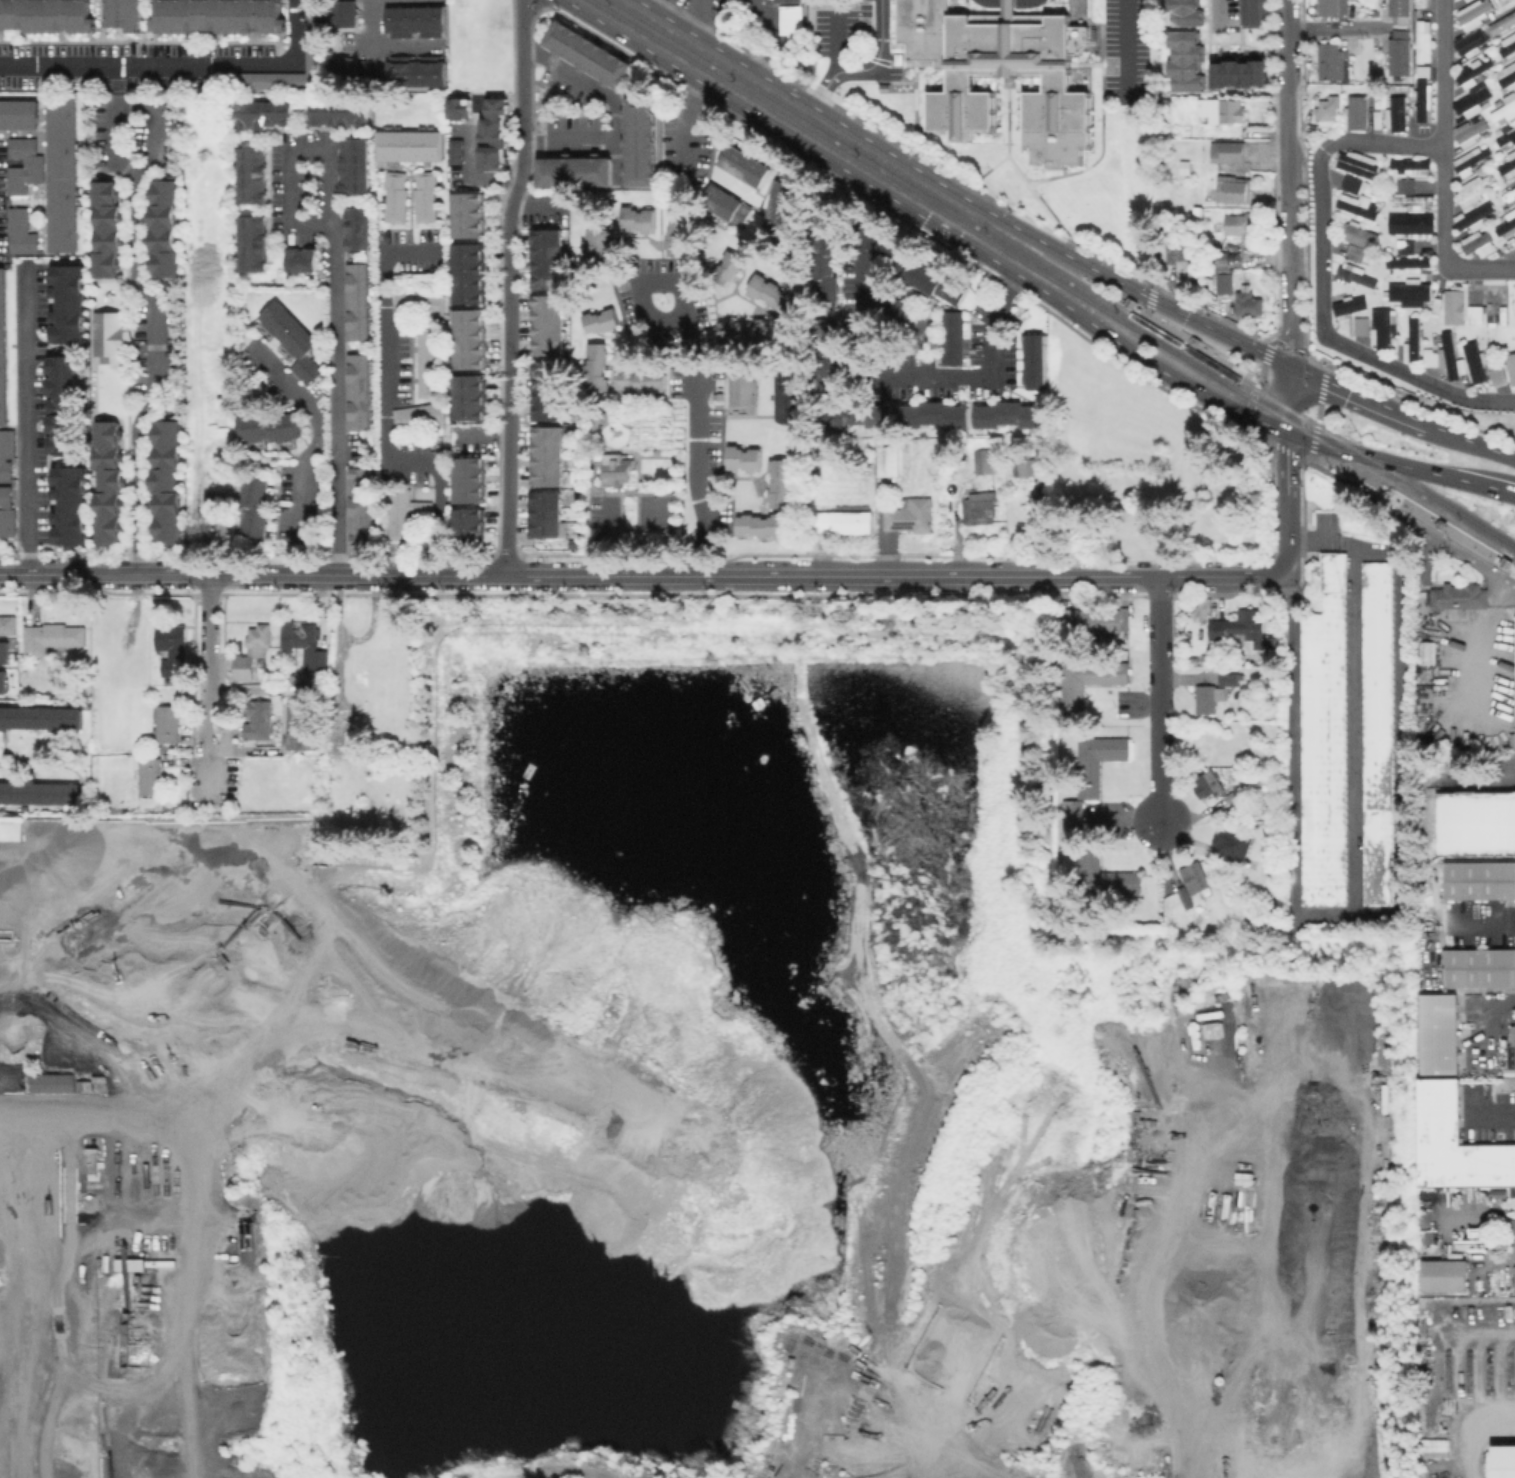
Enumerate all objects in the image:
building: (794, 0)
building: (1418, 3)
building: (1331, 7)
building: (1185, 11)
road: (1215, 11)
building: (1398, 11)
building: (126, 13)
building: (345, 13)
building: (1253, 13)
building: (1472, 13)
building: (46, 15)
building: (218, 15)
road: (702, 18)
building: (413, 21)
building: (793, 23)
building: (315, 27)
road: (1334, 28)
parking lot: (843, 29)
road: (761, 35)
building: (492, 37)
building: (1421, 40)
building: (1468, 42)
road: (836, 43)
road: (372, 44)
building: (1507, 46)
parking lot: (1124, 47)
building: (6, 49)
building: (84, 49)
building: (211, 49)
road: (1127, 51)
building: (1397, 53)
building: (590, 54)
building: (1184, 60)
building: (1331, 62)
road: (181, 64)
road: (867, 68)
building: (415, 70)
building: (999, 72)
building: (1471, 72)
building: (1237, 73)
building: (1504, 75)
building: (17, 80)
building: (95, 83)
building: (151, 84)
road: (916, 85)
building: (1421, 93)
building: (457, 108)
building: (1504, 108)
road: (614, 110)
building: (1221, 110)
building: (1328, 110)
building: (1358, 113)
building: (1396, 113)
building: (19, 114)
building: (262, 114)
road: (524, 116)
building: (337, 118)
road: (1009, 118)
building: (1468, 131)
building: (493, 134)
building: (1506, 134)
road: (1103, 136)
building: (408, 145)
building: (642, 145)
building: (454, 150)
building: (1228, 151)
railway: (865, 153)
road: (1287, 155)
building: (1471, 158)
building: (1356, 163)
building: (27, 164)
building: (743, 164)
building: (1508, 164)
building: (352, 165)
building: (1186, 166)
building: (1407, 166)
road: (1445, 166)
building: (576, 171)
building: (64, 172)
road: (473, 172)
building: (251, 174)
road: (1028, 179)
road: (961, 181)
building: (1350, 183)
building: (1403, 184)
building: (1234, 190)
building: (1472, 190)
road: (1133, 191)
road: (959, 194)
building: (423, 195)
building: (393, 196)
railway: (918, 197)
building: (724, 204)
building: (780, 204)
building: (1356, 205)
building: (1197, 214)
building: (470, 215)
building: (1474, 216)
building: (636, 218)
road: (925, 218)
building: (1505, 222)
building: (107, 224)
building: (1410, 224)
building: (165, 225)
building: (1243, 226)
building: (356, 228)
building: (22, 231)
building: (1358, 236)
building: (677, 239)
building: (252, 243)
building: (1477, 243)
building: (596, 244)
building: (1403, 246)
building: (886, 247)
building: (1353, 252)
building: (828, 256)
building: (300, 259)
building: (548, 259)
building: (1406, 262)
building: (1183, 263)
building: (727, 267)
building: (471, 274)
building: (1358, 279)
building: (931, 281)
building: (1225, 281)
road: (1322, 281)
road: (672, 285)
building: (1409, 292)
building: (770, 294)
road: (337, 295)
road: (1150, 296)
railway: (1127, 297)
building: (357, 301)
building: (417, 301)
building: (67, 303)
building: (1249, 303)
building: (1348, 305)
building: (1458, 306)
building: (1514, 306)
road: (157, 313)
building: (900, 318)
building: (599, 320)
building: (1358, 325)
building: (1382, 325)
building: (548, 327)
building: (741, 330)
road: (1000, 331)
building: (111, 336)
building: (953, 338)
road: (1296, 338)
building: (471, 339)
road: (1281, 339)
building: (291, 340)
building: (1411, 340)
railway: (1184, 346)
road: (1200, 346)
road: (1289, 348)
building: (3, 349)
road: (866, 349)
building: (828, 355)
building: (1441, 355)
building: (426, 358)
building: (1036, 361)
building: (1473, 361)
road: (1314, 363)
building: (1510, 366)
building: (595, 367)
traffic signals: (1295, 368)
building: (1496, 375)
building: (639, 379)
road: (1257, 385)
building: (740, 387)
building: (357, 391)
building: (549, 391)
road: (1359, 396)
building: (471, 398)
road: (1292, 400)
road: (510, 403)
building: (60, 404)
road: (1319, 412)
road: (384, 413)
building: (1011, 414)
building: (417, 415)
building: (894, 415)
road: (26, 420)
road: (622, 421)
building: (267, 427)
traffic signals: (1289, 432)
road: (694, 435)
railway: (1330, 435)
railway: (1316, 438)
road: (1469, 442)
road: (1278, 446)
road: (1327, 446)
road: (309, 450)
building: (6, 454)
building: (548, 457)
building: (743, 458)
building: (983, 460)
building: (891, 462)
building: (1028, 466)
building: (621, 469)
road: (674, 470)
road: (603, 471)
road: (591, 472)
building: (225, 473)
road: (1440, 475)
building: (472, 479)
building: (169, 480)
building: (109, 483)
building: (780, 483)
road: (1353, 487)
park: (633, 488)
railway: (1415, 498)
railway: (1385, 501)
road: (1287, 504)
building: (216, 505)
building: (69, 506)
building: (251, 506)
building: (358, 506)
building: (979, 509)
building: (7, 511)
building: (404, 512)
road: (1413, 513)
building: (911, 515)
railway: (1464, 515)
building: (550, 516)
building: (848, 520)
building: (763, 524)
rooftop solar panel: (902, 524)
building: (473, 528)
railway: (1477, 535)
road: (668, 536)
road: (615, 540)
road: (1459, 550)
railway: (1513, 557)
road: (525, 577)
road: (1168, 579)
building: (1460, 597)
building: (1095, 620)
building: (6, 624)
rooftop solar panel: (52, 628)
building: (1242, 630)
building: (308, 636)
building: (53, 637)
building: (259, 640)
building: (3, 646)
building: (172, 647)
building: (1428, 651)
building: (3, 657)
building: (322, 660)
road: (212, 666)
building: (245, 669)
building: (1229, 675)
building: (364, 676)
building: (1089, 679)
building: (2, 681)
building: (1206, 699)
road: (1163, 703)
building: (39, 718)
building: (262, 719)
building: (167, 724)
building: (307, 725)
building: (1376, 732)
building: (1323, 740)
building: (344, 749)
building: (1095, 761)
road: (1507, 769)
building: (149, 775)
building: (1210, 784)
building: (39, 793)
building: (1235, 794)
building: (1070, 821)
building: (1475, 821)
building: (11, 829)
building: (1232, 844)
building: (1195, 877)
building: (1104, 878)
building: (1478, 880)
road: (1351, 893)
building: (1186, 897)
road: (1483, 921)
building: (1479, 967)
road: (1502, 999)
building: (1437, 1033)
building: (1514, 1071)
quarry: (678, 1109)
road: (1492, 1116)
road: (110, 1121)
building: (1454, 1143)
building: (1514, 1228)
building: (1427, 1236)
road: (1504, 1266)
building: (1442, 1274)
road: (1479, 1334)
road: (1472, 1432)
building: (1432, 1447)
building: (1503, 1461)

